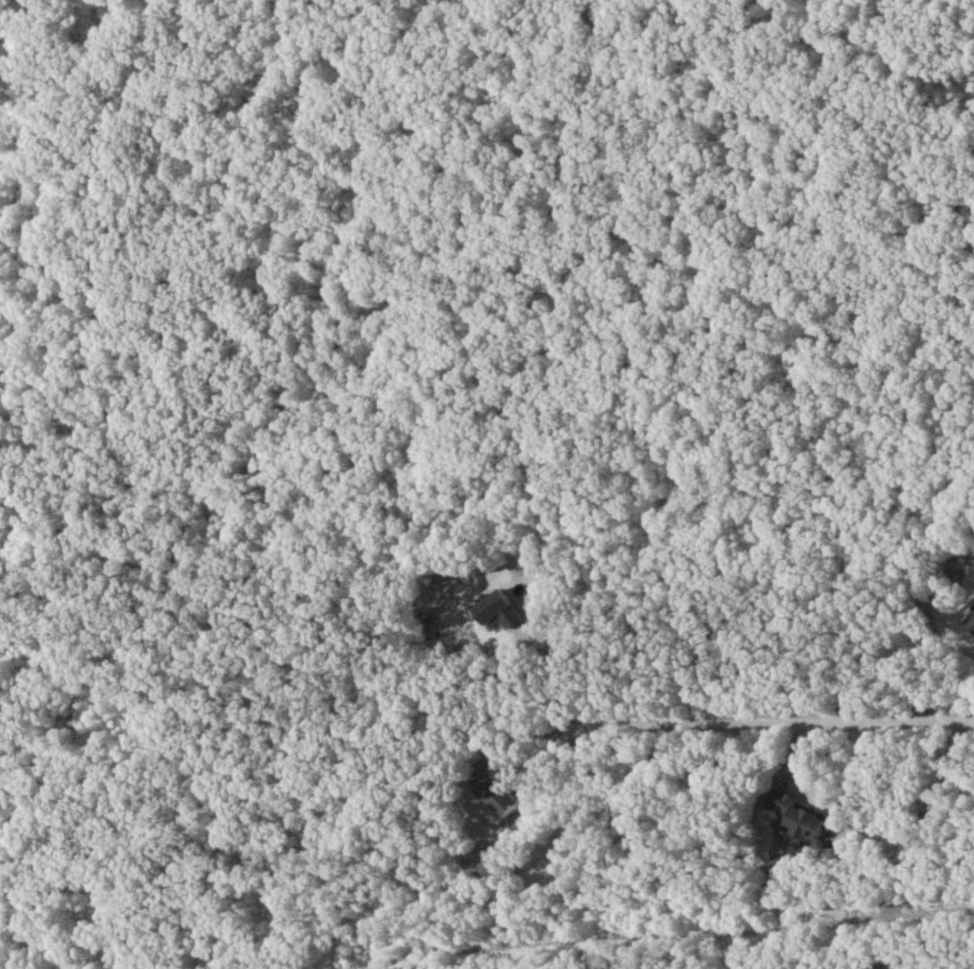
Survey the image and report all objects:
road: (793, 452)
building: (496, 614)
building: (970, 627)
road: (747, 725)
road: (824, 794)
building: (497, 801)
building: (794, 820)

